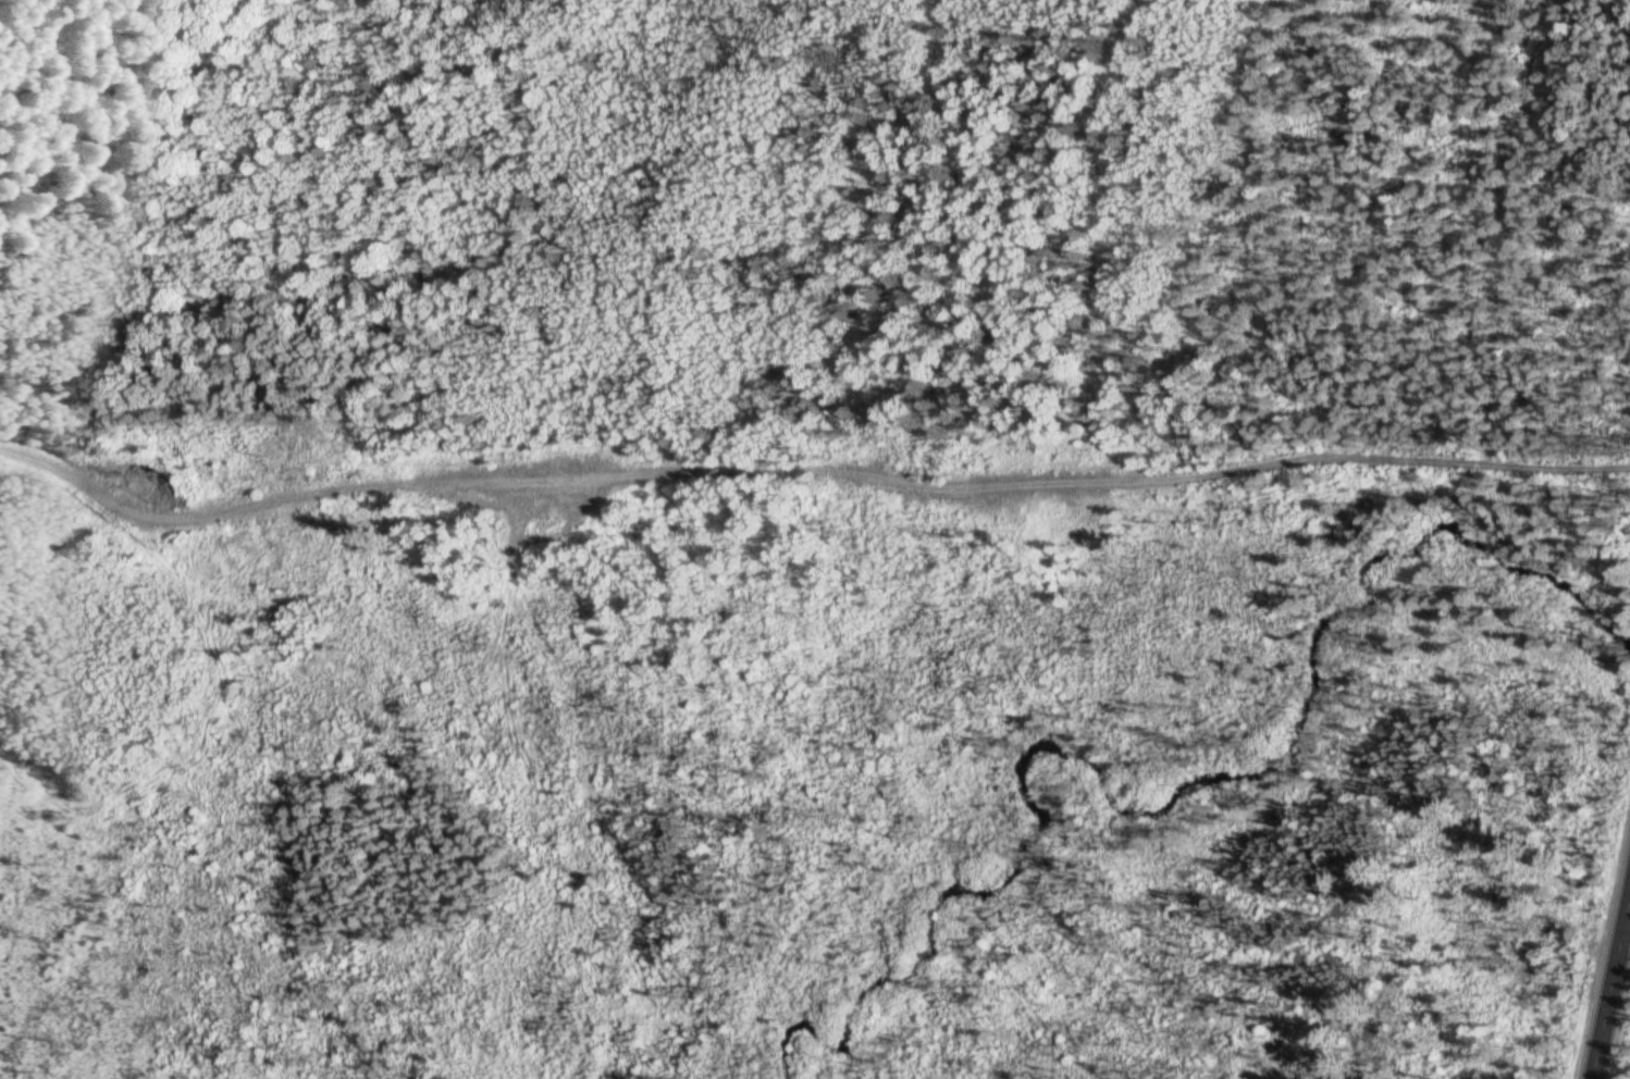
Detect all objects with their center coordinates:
road: (861, 479)
road: (1612, 992)

